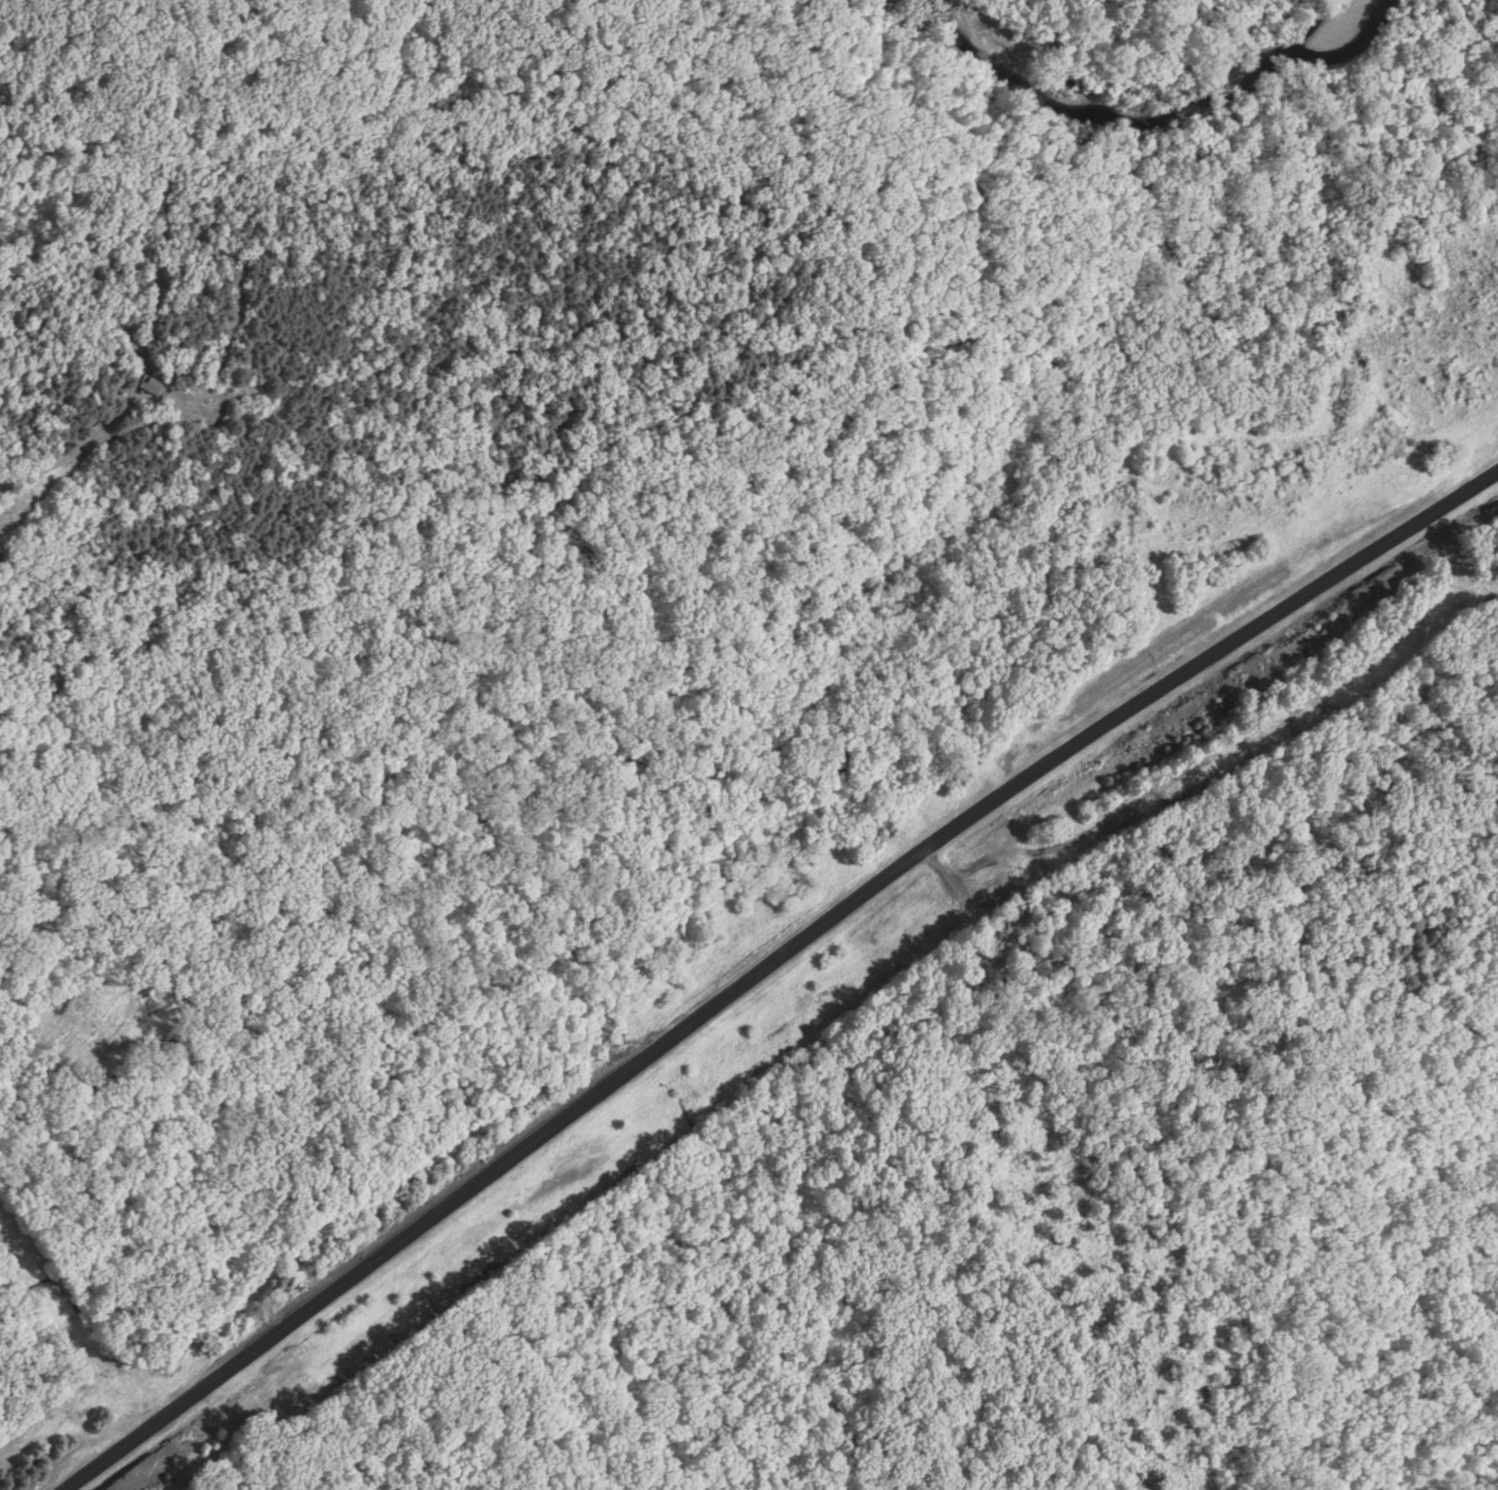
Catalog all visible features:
building: (156, 387)
road: (772, 963)

